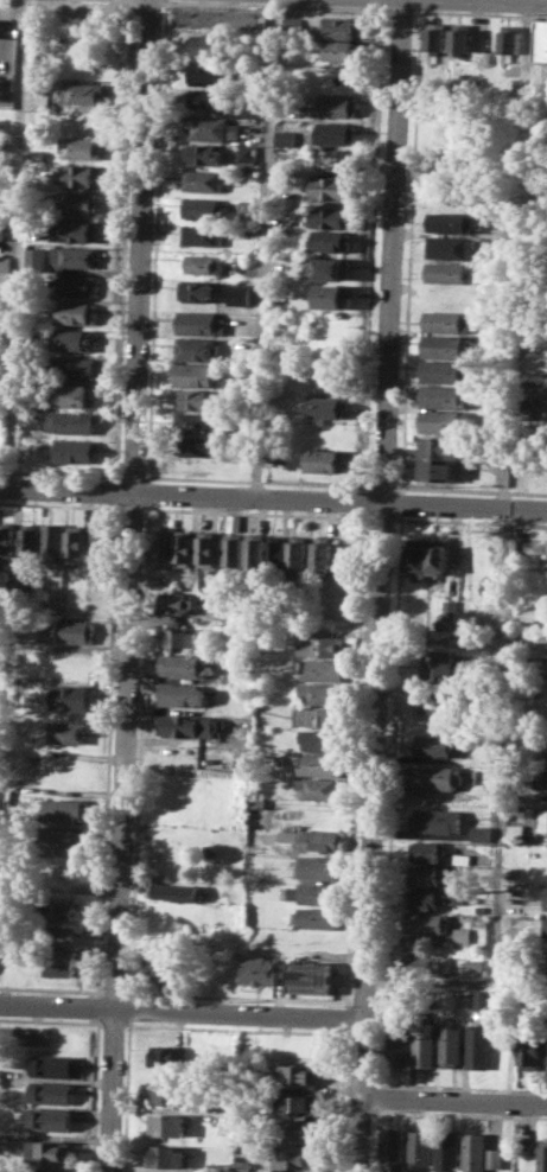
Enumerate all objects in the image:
building: (293, 23)
building: (346, 26)
building: (439, 37)
building: (463, 37)
building: (540, 39)
building: (511, 42)
building: (210, 45)
building: (343, 50)
road: (527, 68)
building: (210, 72)
building: (0, 87)
building: (84, 91)
building: (215, 97)
building: (40, 101)
building: (337, 106)
building: (252, 108)
building: (215, 127)
building: (337, 133)
building: (287, 138)
building: (83, 147)
building: (210, 154)
building: (249, 159)
building: (341, 159)
building: (84, 174)
building: (205, 180)
building: (333, 187)
building: (81, 200)
building: (205, 208)
building: (253, 208)
building: (332, 217)
building: (452, 221)
building: (4, 228)
building: (76, 231)
building: (204, 235)
building: (332, 241)
road: (19, 244)
building: (453, 246)
road: (265, 250)
building: (76, 256)
building: (38, 257)
building: (6, 262)
building: (205, 265)
building: (332, 267)
building: (447, 272)
building: (77, 285)
building: (201, 291)
building: (243, 293)
building: (336, 297)
building: (76, 312)
building: (450, 320)
building: (204, 323)
building: (74, 339)
building: (445, 345)
building: (199, 349)
building: (72, 367)
building: (444, 370)
building: (199, 374)
building: (75, 395)
building: (444, 396)
building: (195, 400)
building: (327, 406)
building: (523, 414)
building: (31, 418)
building: (443, 421)
building: (71, 422)
building: (193, 422)
building: (327, 433)
building: (201, 446)
building: (440, 446)
building: (72, 451)
building: (327, 460)
building: (439, 470)
road: (273, 501)
building: (30, 539)
building: (52, 541)
building: (6, 542)
building: (75, 542)
building: (100, 544)
building: (233, 544)
building: (163, 546)
building: (184, 547)
building: (206, 548)
building: (255, 552)
building: (276, 552)
building: (298, 552)
building: (323, 553)
building: (439, 555)
building: (418, 556)
road: (131, 585)
road: (380, 586)
building: (172, 601)
building: (449, 610)
building: (66, 631)
building: (178, 637)
building: (323, 645)
building: (183, 664)
building: (438, 665)
building: (322, 669)
building: (320, 693)
building: (180, 694)
building: (68, 696)
building: (434, 701)
building: (316, 716)
building: (184, 725)
building: (65, 731)
building: (319, 739)
building: (432, 746)
building: (318, 763)
building: (434, 777)
building: (541, 778)
building: (317, 786)
building: (254, 802)
building: (63, 810)
road: (501, 810)
building: (254, 819)
building: (435, 820)
building: (514, 830)
building: (546, 830)
building: (479, 833)
building: (63, 839)
building: (310, 839)
building: (427, 851)
building: (460, 859)
building: (314, 866)
building: (425, 873)
building: (173, 891)
building: (313, 892)
building: (457, 897)
building: (424, 898)
building: (546, 898)
building: (63, 907)
building: (314, 917)
building: (427, 922)
building: (545, 926)
building: (164, 934)
building: (62, 935)
building: (545, 949)
building: (14, 957)
building: (62, 962)
building: (426, 964)
building: (475, 964)
building: (161, 967)
building: (259, 969)
building: (543, 972)
building: (311, 979)
building: (483, 999)
road: (182, 1011)
parking lot: (24, 1034)
building: (399, 1042)
building: (425, 1043)
building: (452, 1043)
building: (479, 1046)
building: (532, 1047)
building: (298, 1049)
building: (167, 1057)
building: (52, 1065)
building: (546, 1068)
building: (298, 1076)
building: (52, 1091)
building: (167, 1093)
road: (454, 1100)
building: (298, 1102)
building: (50, 1119)
building: (166, 1123)
building: (295, 1128)
building: (393, 1149)
building: (420, 1151)
building: (447, 1151)
building: (49, 1152)
building: (481, 1153)
building: (165, 1155)
building: (297, 1155)
building: (543, 1155)
building: (241, 1166)
building: (39, 1171)

